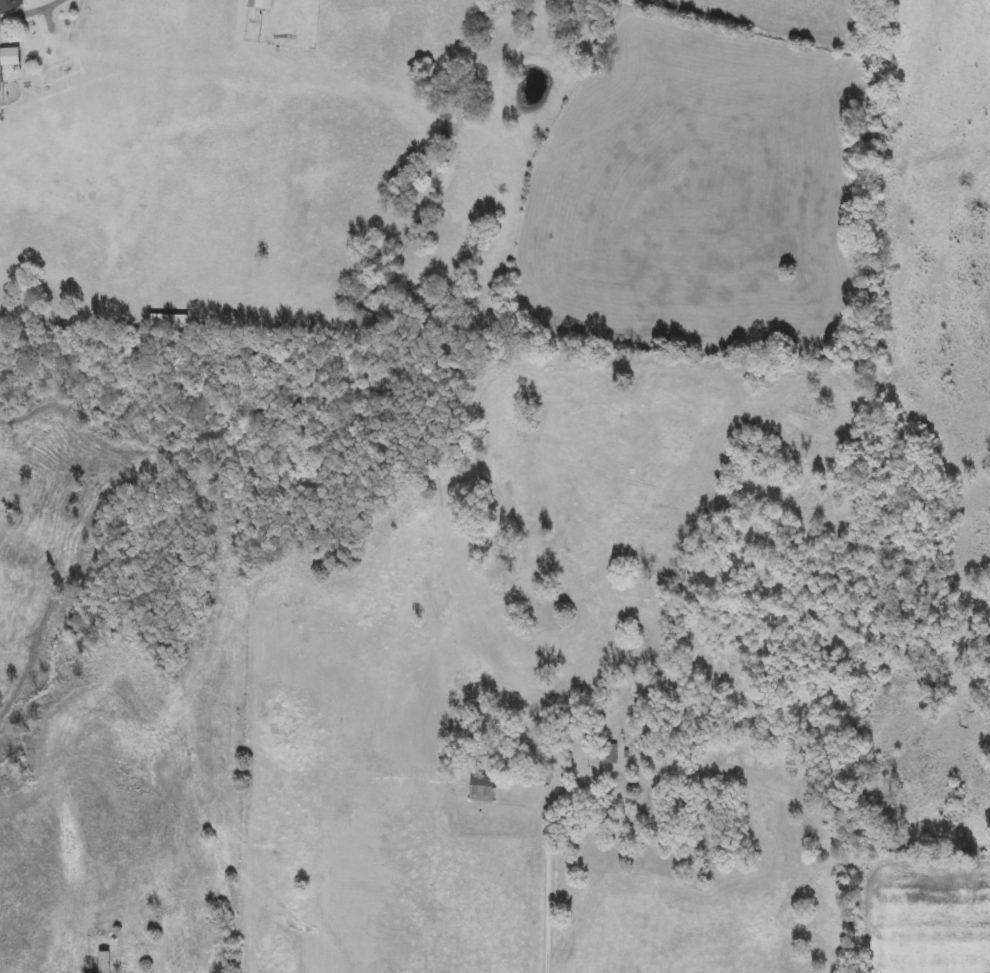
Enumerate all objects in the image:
road: (23, 8)
building: (0, 67)
building: (161, 322)
building: (610, 754)
building: (482, 789)
road: (547, 852)
building: (105, 962)

